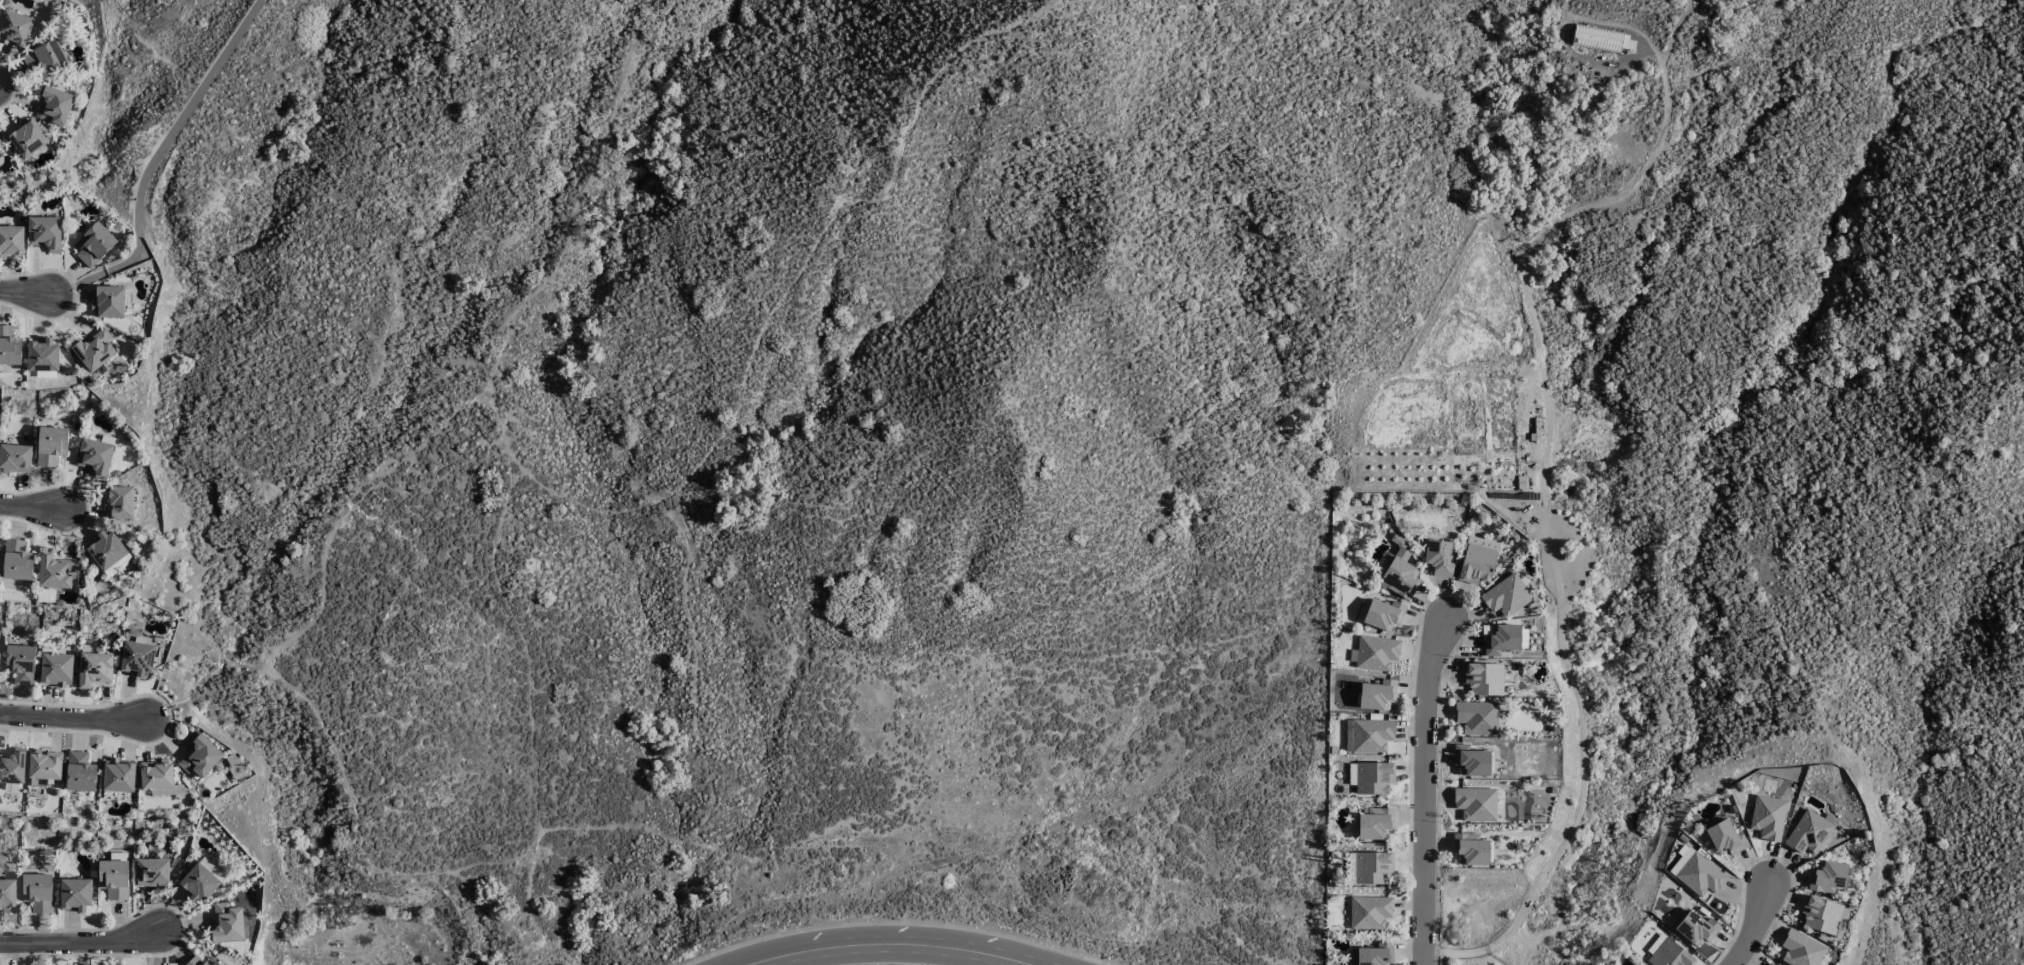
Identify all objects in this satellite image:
building: (15, 28)
building: (1597, 38)
building: (45, 56)
building: (56, 105)
building: (29, 137)
road: (153, 162)
building: (45, 232)
building: (11, 241)
building: (95, 244)
road: (23, 295)
building: (109, 301)
building: (9, 346)
building: (95, 349)
building: (43, 355)
building: (51, 445)
building: (95, 456)
building: (15, 458)
building: (120, 503)
road: (28, 507)
building: (108, 552)
building: (1439, 558)
building: (17, 560)
building: (1478, 560)
building: (1397, 570)
building: (56, 571)
building: (1507, 595)
building: (1383, 614)
building: (1500, 639)
building: (1376, 653)
building: (137, 657)
building: (21, 663)
building: (94, 668)
building: (57, 669)
building: (1484, 679)
building: (1377, 694)
building: (1477, 717)
road: (71, 719)
building: (1372, 735)
building: (200, 756)
building: (1471, 760)
building: (13, 766)
building: (80, 772)
building: (157, 774)
building: (119, 775)
building: (1371, 777)
road: (1424, 792)
building: (1476, 804)
building: (1768, 817)
building: (1375, 823)
building: (1808, 832)
building: (1725, 838)
building: (1470, 849)
building: (1373, 867)
building: (152, 872)
building: (1697, 873)
building: (1829, 877)
building: (114, 878)
building: (200, 880)
building: (38, 891)
building: (8, 894)
building: (75, 894)
building: (1370, 912)
building: (1822, 915)
building: (227, 923)
road: (1754, 927)
building: (1696, 928)
road: (81, 943)
road: (884, 944)
building: (1801, 949)
building: (1667, 953)
building: (1373, 954)
building: (201, 961)

